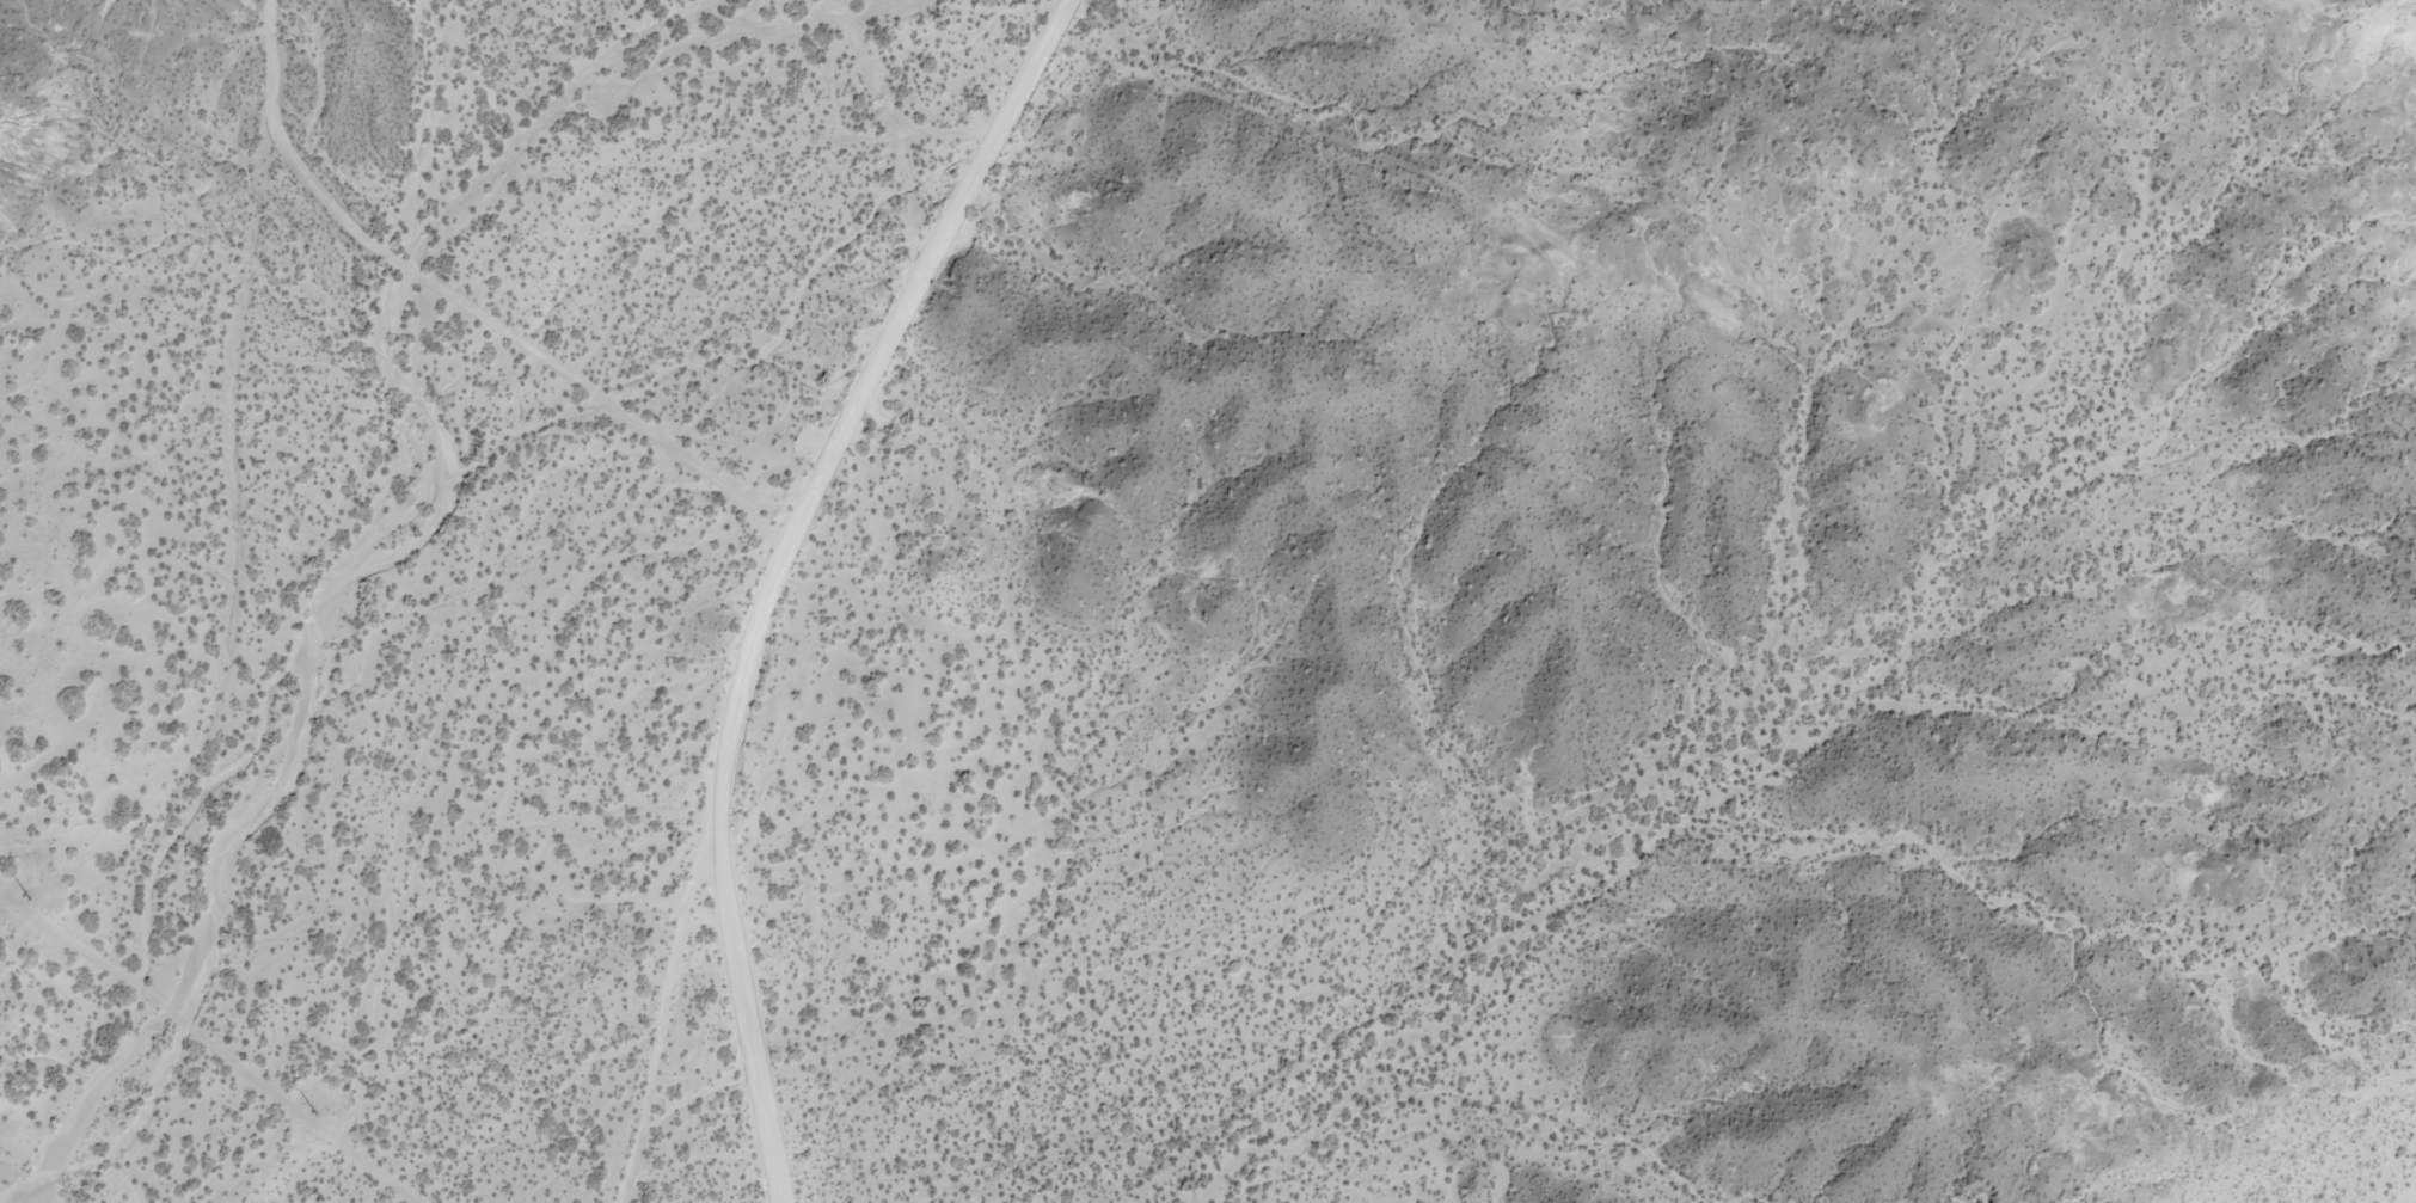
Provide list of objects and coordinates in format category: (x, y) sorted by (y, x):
road: (807, 577)

